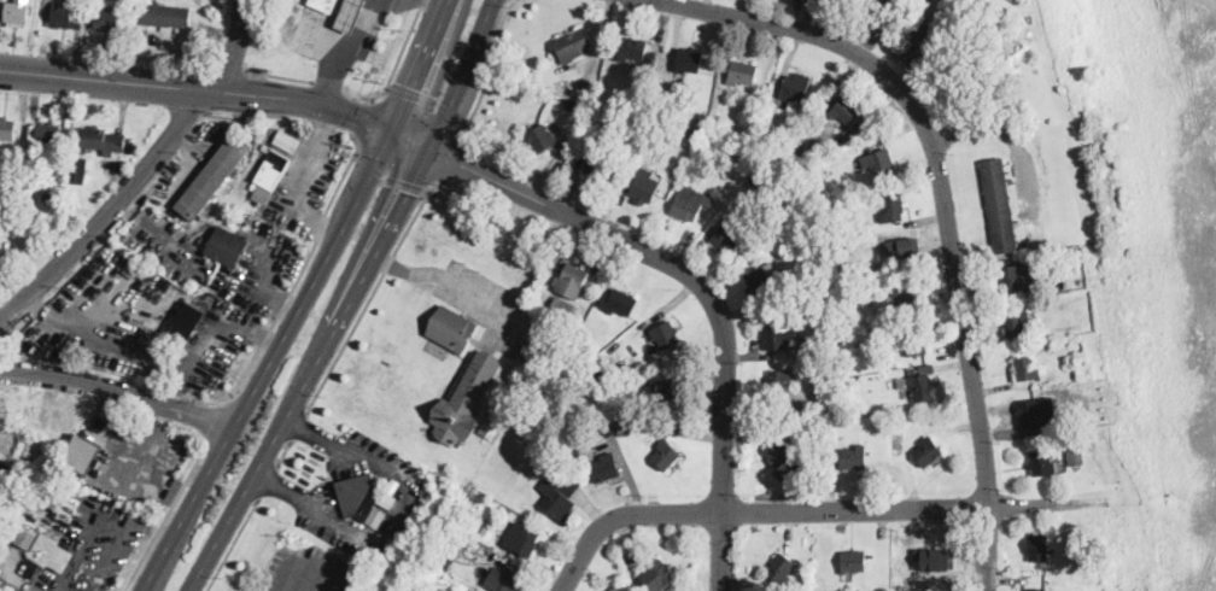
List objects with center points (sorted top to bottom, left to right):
building: (325, 5)
building: (877, 6)
building: (18, 12)
building: (68, 14)
building: (350, 14)
building: (166, 17)
building: (109, 21)
building: (918, 33)
road: (31, 35)
building: (573, 45)
building: (632, 49)
road: (235, 51)
road: (398, 57)
road: (341, 60)
building: (689, 60)
road: (238, 66)
road: (425, 66)
road: (487, 71)
building: (958, 72)
building: (742, 74)
road: (279, 75)
road: (464, 75)
road: (101, 78)
building: (999, 80)
road: (331, 81)
road: (322, 83)
traffic signals: (416, 88)
building: (795, 89)
building: (586, 90)
building: (573, 92)
road: (303, 99)
road: (429, 100)
building: (571, 105)
building: (667, 106)
building: (581, 107)
building: (641, 107)
building: (846, 111)
road: (197, 112)
road: (244, 113)
traffic signals: (361, 116)
building: (632, 117)
road: (364, 118)
building: (641, 121)
building: (702, 121)
building: (764, 125)
building: (7, 129)
building: (48, 136)
building: (695, 136)
building: (542, 139)
building: (104, 140)
building: (287, 140)
building: (759, 141)
road: (415, 142)
building: (744, 145)
building: (267, 146)
road: (452, 160)
building: (879, 162)
building: (784, 163)
traffic signals: (462, 165)
building: (78, 168)
building: (601, 168)
building: (273, 169)
building: (793, 169)
building: (214, 176)
road: (390, 176)
building: (808, 183)
building: (645, 186)
traffic signals: (411, 192)
building: (47, 195)
building: (262, 195)
road: (942, 201)
building: (691, 203)
building: (1000, 206)
road: (110, 209)
building: (893, 209)
building: (824, 226)
building: (729, 239)
building: (227, 247)
building: (902, 251)
building: (841, 261)
road: (537, 267)
road: (300, 270)
road: (409, 271)
building: (1012, 279)
building: (572, 280)
building: (761, 285)
road: (707, 287)
road: (373, 291)
building: (803, 291)
building: (817, 292)
building: (836, 298)
building: (907, 298)
building: (620, 303)
road: (490, 305)
building: (561, 310)
building: (188, 321)
building: (1017, 323)
building: (451, 327)
building: (781, 334)
building: (665, 335)
building: (916, 343)
road: (271, 362)
building: (894, 365)
building: (1083, 365)
building: (622, 368)
building: (1027, 369)
building: (928, 370)
road: (311, 371)
building: (621, 382)
building: (778, 382)
building: (922, 388)
building: (826, 391)
road: (119, 392)
building: (511, 393)
building: (672, 393)
building: (467, 398)
building: (896, 408)
building: (1031, 415)
road: (216, 419)
building: (495, 423)
road: (298, 425)
building: (608, 426)
building: (624, 428)
road: (311, 433)
building: (928, 451)
building: (575, 452)
road: (283, 454)
building: (83, 455)
building: (666, 455)
building: (1076, 457)
building: (784, 458)
building: (855, 458)
building: (1042, 463)
building: (606, 467)
building: (553, 468)
road: (268, 481)
road: (281, 488)
building: (388, 492)
building: (359, 496)
building: (560, 496)
road: (394, 511)
road: (753, 513)
road: (163, 517)
building: (522, 540)
road: (232, 543)
building: (1039, 548)
building: (52, 552)
building: (444, 558)
road: (306, 560)
building: (854, 562)
building: (27, 567)
building: (782, 568)
building: (929, 569)
building: (659, 577)
building: (505, 578)
building: (457, 589)
building: (1035, 590)

